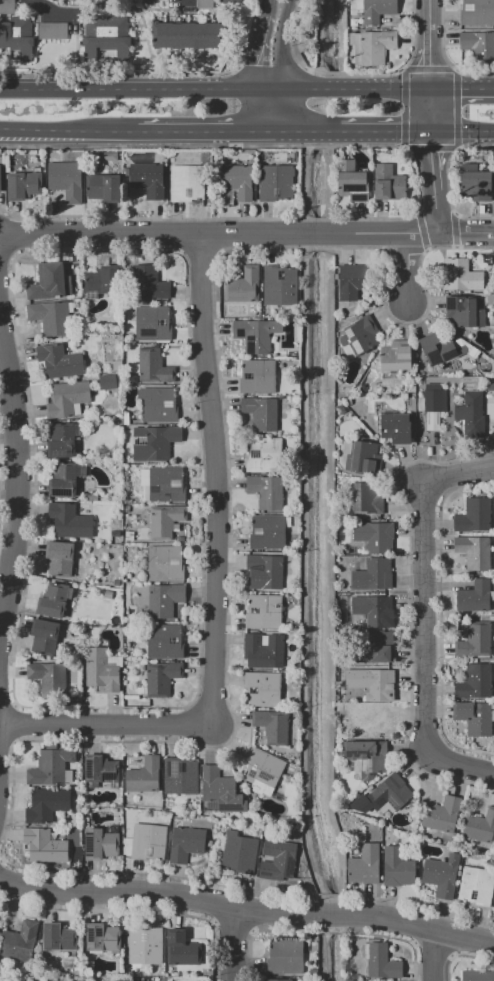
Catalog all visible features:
building: (148, 1)
road: (38, 2)
building: (230, 2)
building: (205, 4)
building: (7, 7)
road: (271, 8)
building: (373, 10)
road: (428, 12)
building: (477, 12)
building: (52, 31)
building: (187, 35)
building: (18, 37)
building: (104, 38)
building: (478, 44)
building: (372, 46)
road: (262, 54)
road: (428, 57)
road: (281, 65)
traffic signals: (428, 66)
road: (460, 90)
traffic signals: (469, 90)
road: (342, 92)
road: (129, 93)
road: (429, 111)
road: (259, 112)
road: (64, 130)
road: (194, 131)
road: (272, 131)
road: (308, 132)
road: (381, 132)
traffic signals: (395, 132)
road: (463, 132)
traffic signals: (434, 151)
building: (105, 156)
road: (434, 162)
building: (0, 179)
building: (148, 179)
building: (65, 180)
building: (237, 180)
building: (275, 182)
building: (352, 182)
building: (476, 182)
building: (187, 183)
building: (388, 183)
building: (24, 185)
building: (104, 187)
road: (434, 214)
road: (247, 235)
road: (407, 271)
building: (461, 275)
building: (150, 281)
building: (352, 281)
building: (48, 282)
building: (101, 282)
building: (280, 284)
building: (244, 285)
building: (490, 299)
building: (464, 314)
building: (50, 317)
building: (153, 324)
building: (256, 334)
building: (358, 337)
building: (440, 347)
building: (395, 356)
building: (59, 361)
building: (117, 365)
building: (154, 366)
building: (258, 376)
building: (108, 381)
building: (405, 389)
building: (68, 399)
building: (432, 399)
building: (159, 405)
building: (341, 412)
building: (261, 413)
building: (469, 413)
building: (395, 428)
building: (61, 441)
building: (153, 442)
building: (264, 454)
building: (359, 456)
road: (219, 474)
road: (23, 476)
building: (63, 480)
building: (166, 484)
building: (266, 491)
building: (92, 497)
building: (368, 497)
building: (127, 508)
building: (473, 516)
building: (69, 521)
building: (165, 521)
building: (267, 532)
building: (115, 533)
building: (375, 537)
building: (181, 538)
building: (473, 552)
building: (59, 558)
building: (164, 563)
building: (266, 570)
building: (373, 575)
building: (116, 582)
road: (428, 587)
building: (474, 596)
building: (165, 599)
building: (53, 601)
building: (374, 610)
building: (264, 612)
building: (45, 637)
building: (164, 641)
building: (474, 641)
building: (380, 647)
building: (264, 650)
building: (102, 669)
building: (49, 678)
building: (162, 678)
building: (475, 682)
building: (376, 684)
building: (262, 689)
building: (474, 717)
building: (374, 720)
road: (103, 723)
building: (272, 726)
building: (365, 756)
building: (50, 768)
building: (100, 769)
road: (462, 769)
building: (263, 772)
building: (142, 774)
building: (180, 775)
building: (220, 792)
building: (389, 794)
building: (46, 804)
building: (441, 814)
building: (480, 826)
building: (145, 842)
building: (186, 843)
building: (100, 844)
building: (44, 846)
building: (239, 853)
building: (278, 860)
building: (365, 865)
building: (397, 867)
building: (442, 875)
building: (476, 886)
road: (247, 909)
building: (58, 937)
building: (103, 938)
building: (19, 942)
road: (236, 945)
building: (145, 946)
building: (182, 949)
road: (434, 955)
building: (286, 957)
building: (382, 962)
building: (478, 975)
building: (279, 980)

